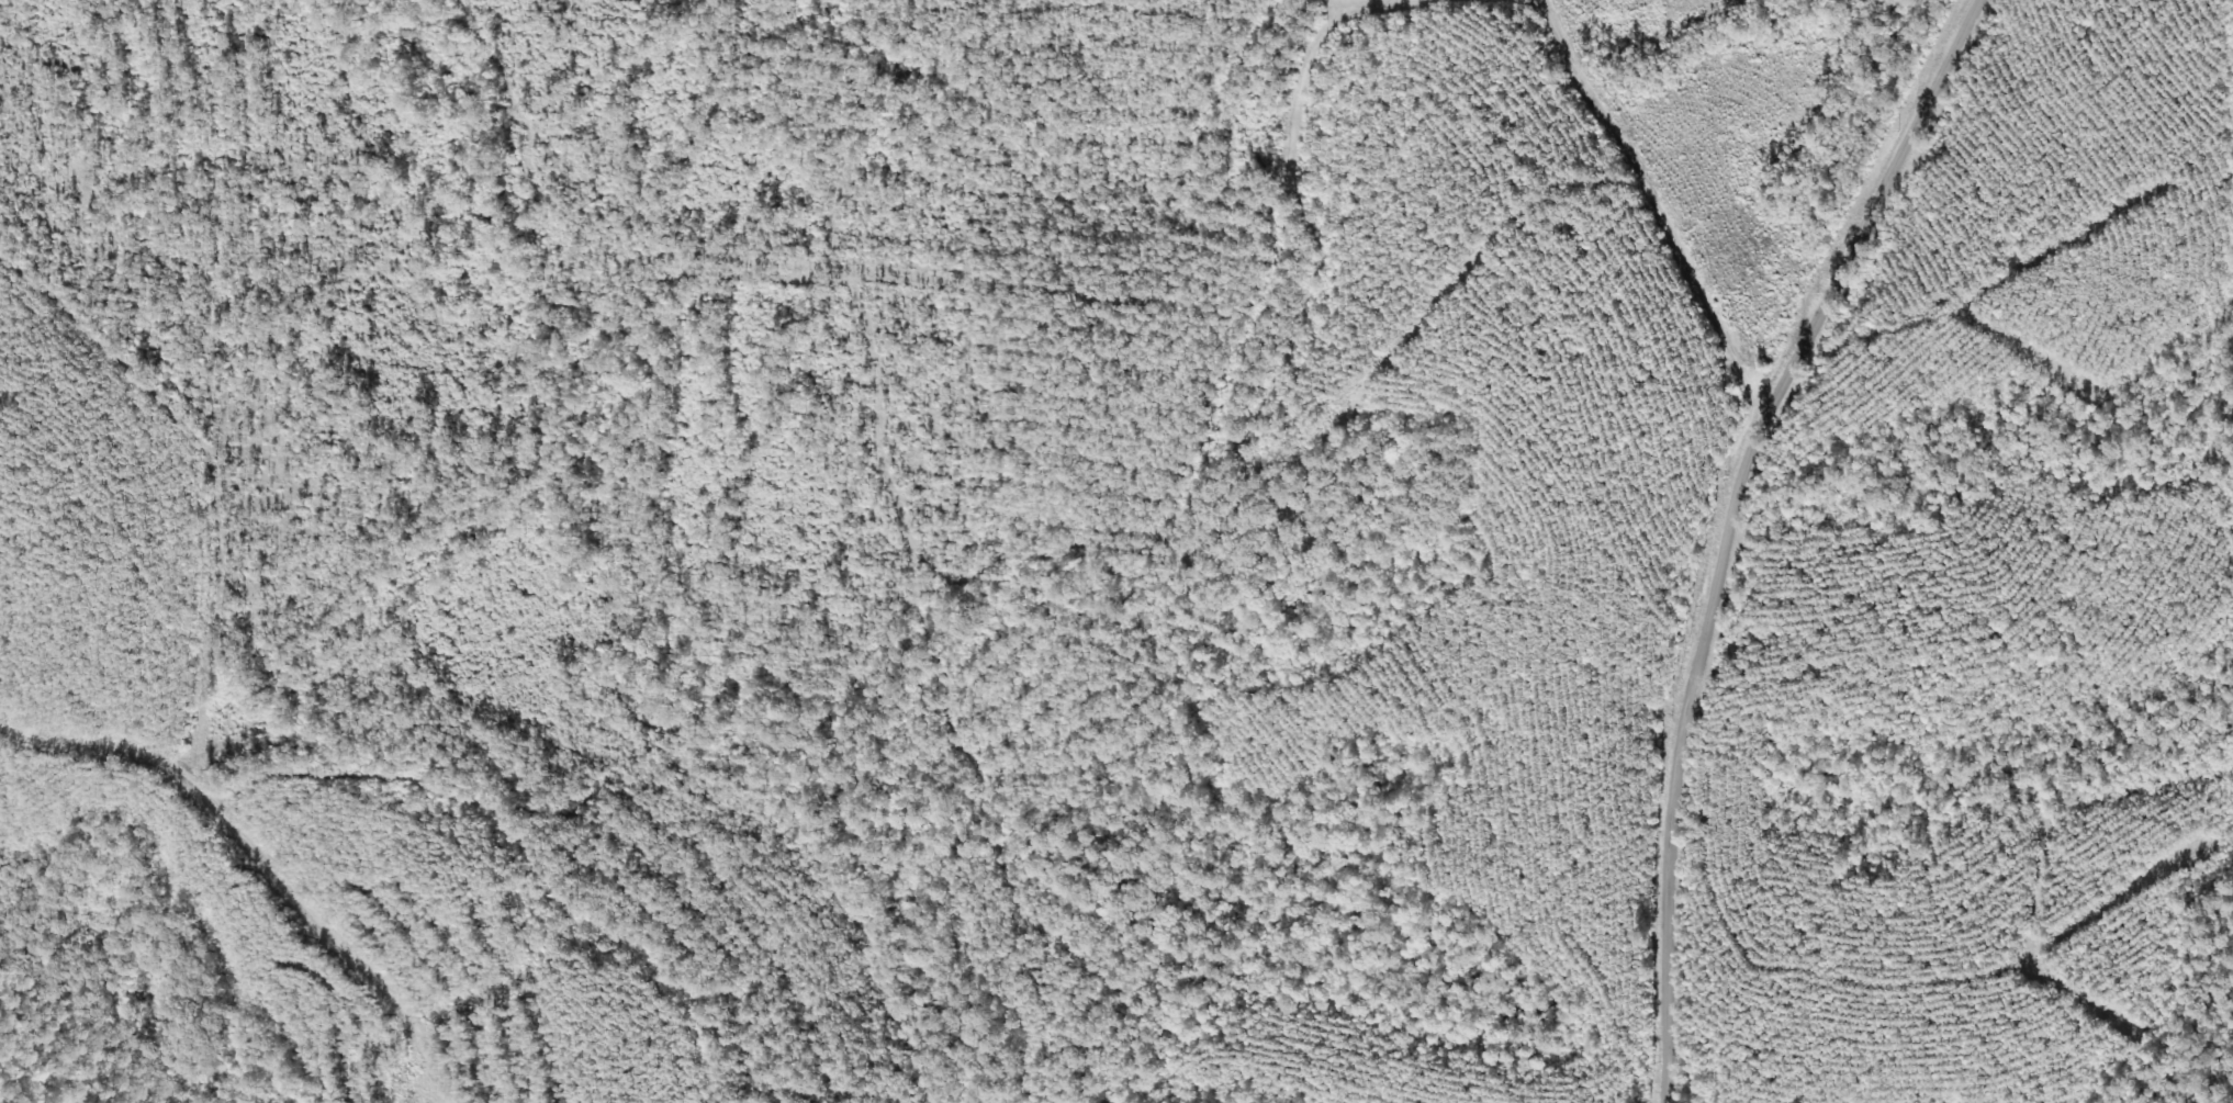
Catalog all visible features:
road: (1593, 209)
road: (1693, 524)
road: (1097, 1045)

